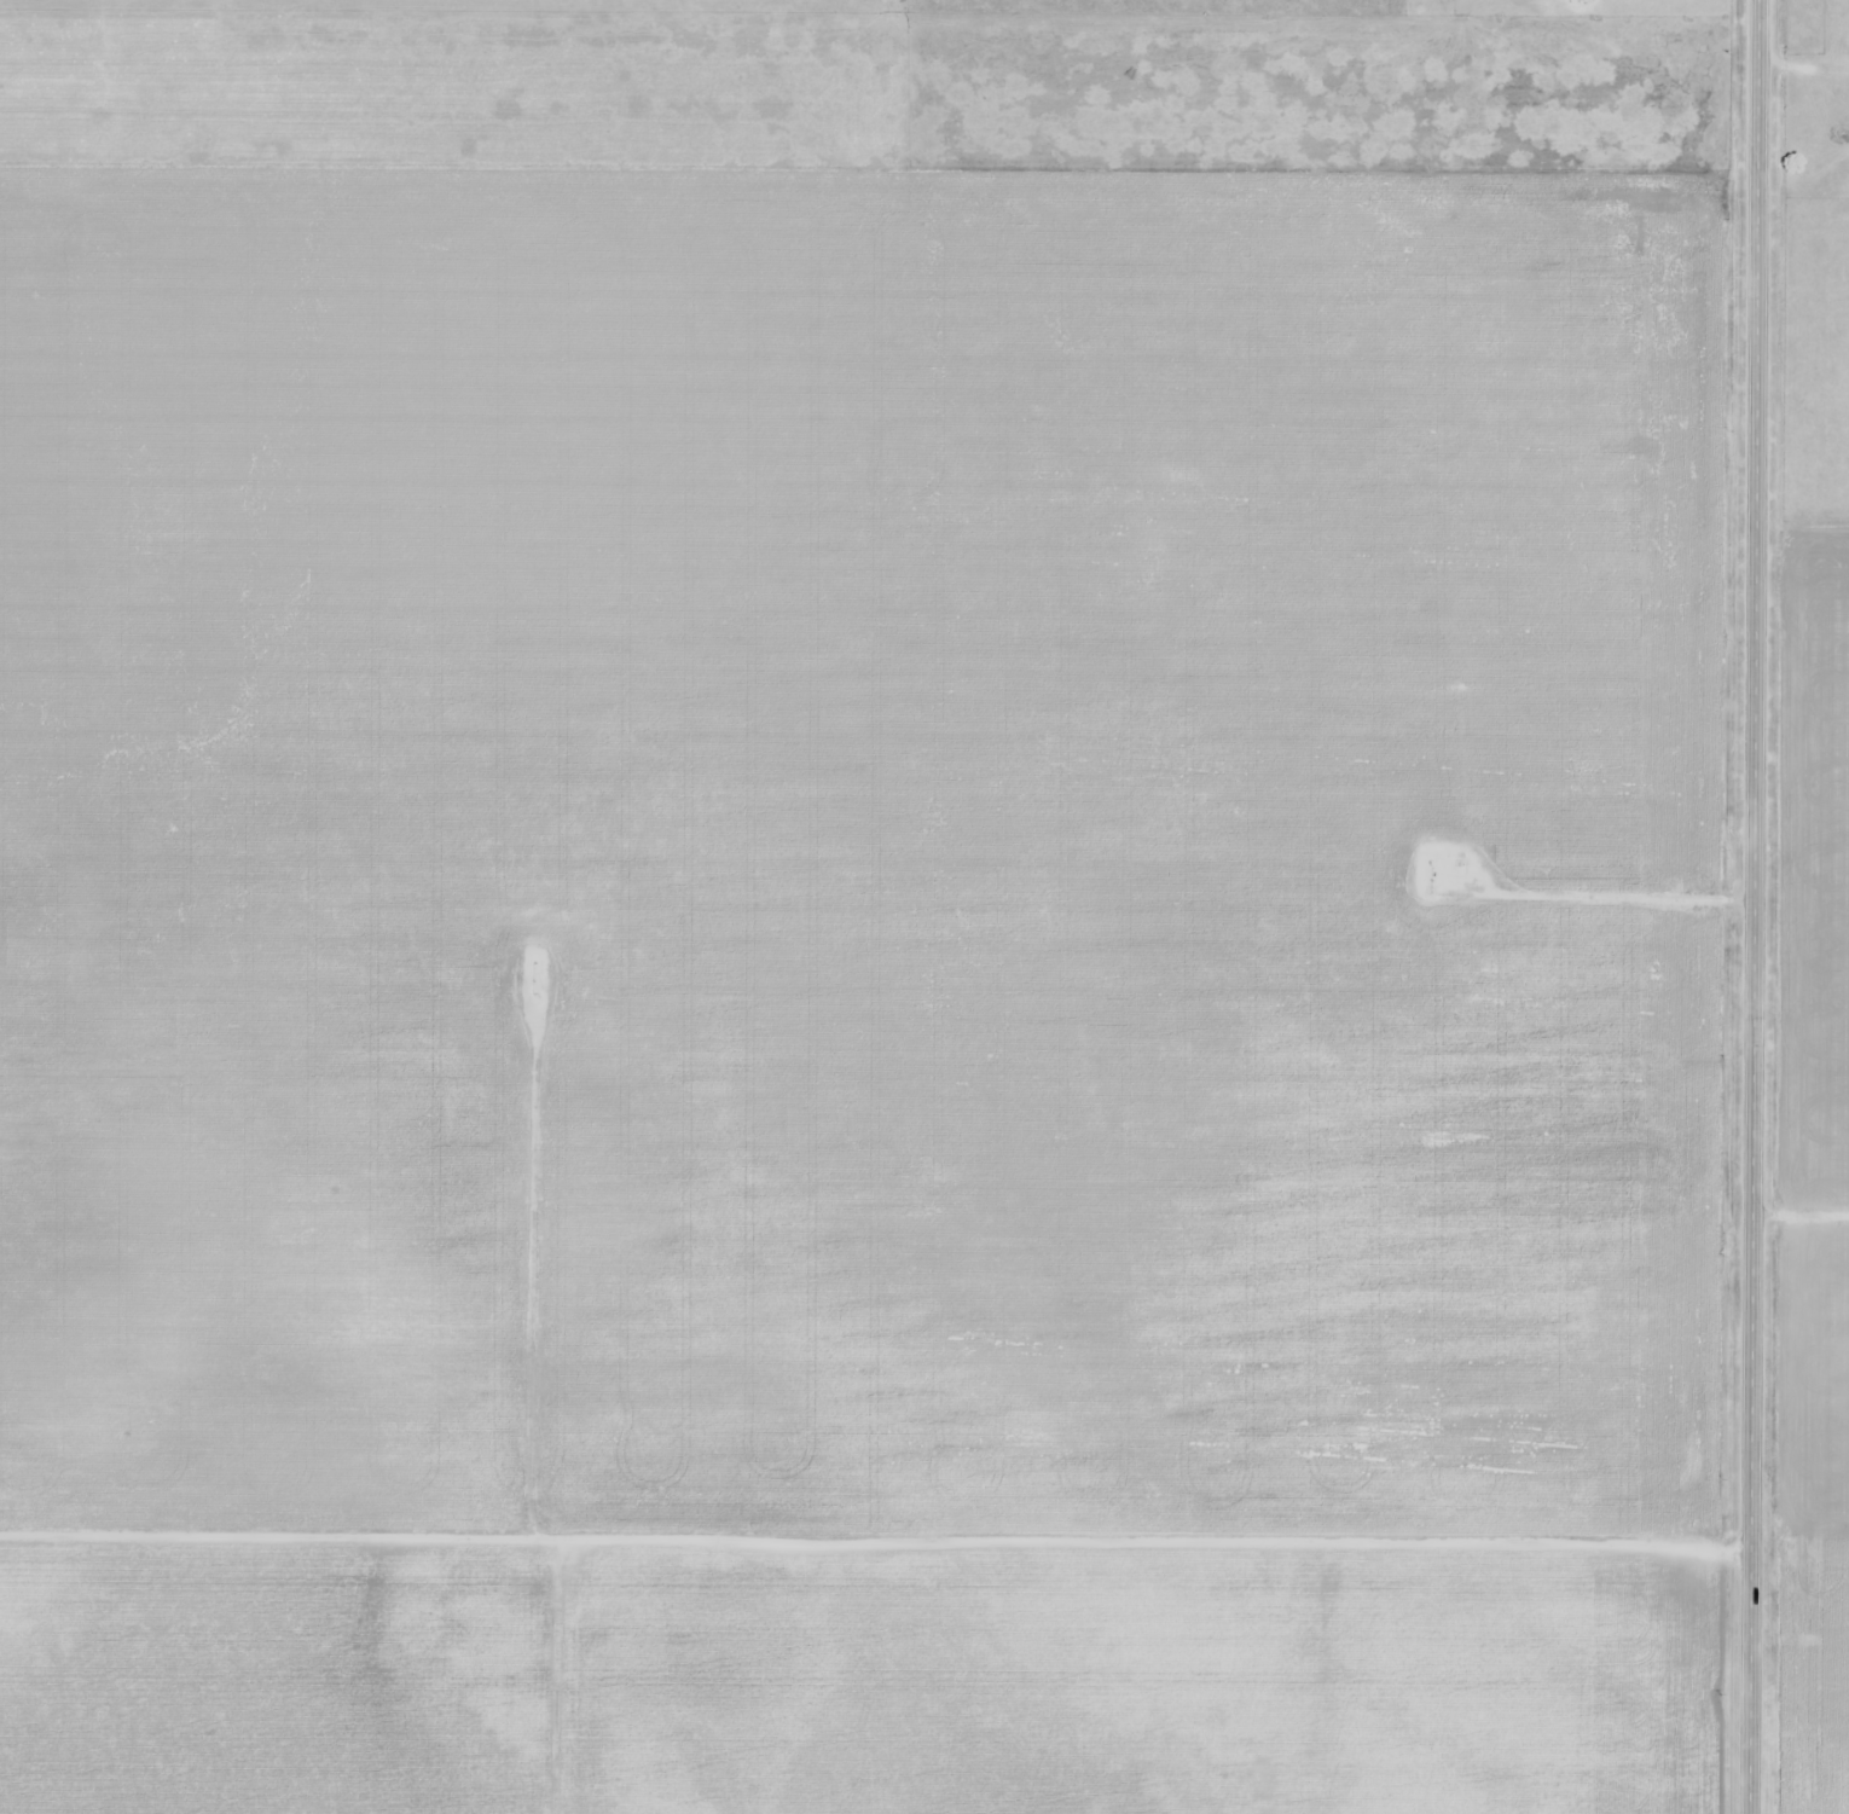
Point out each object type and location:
road: (1752, 906)

